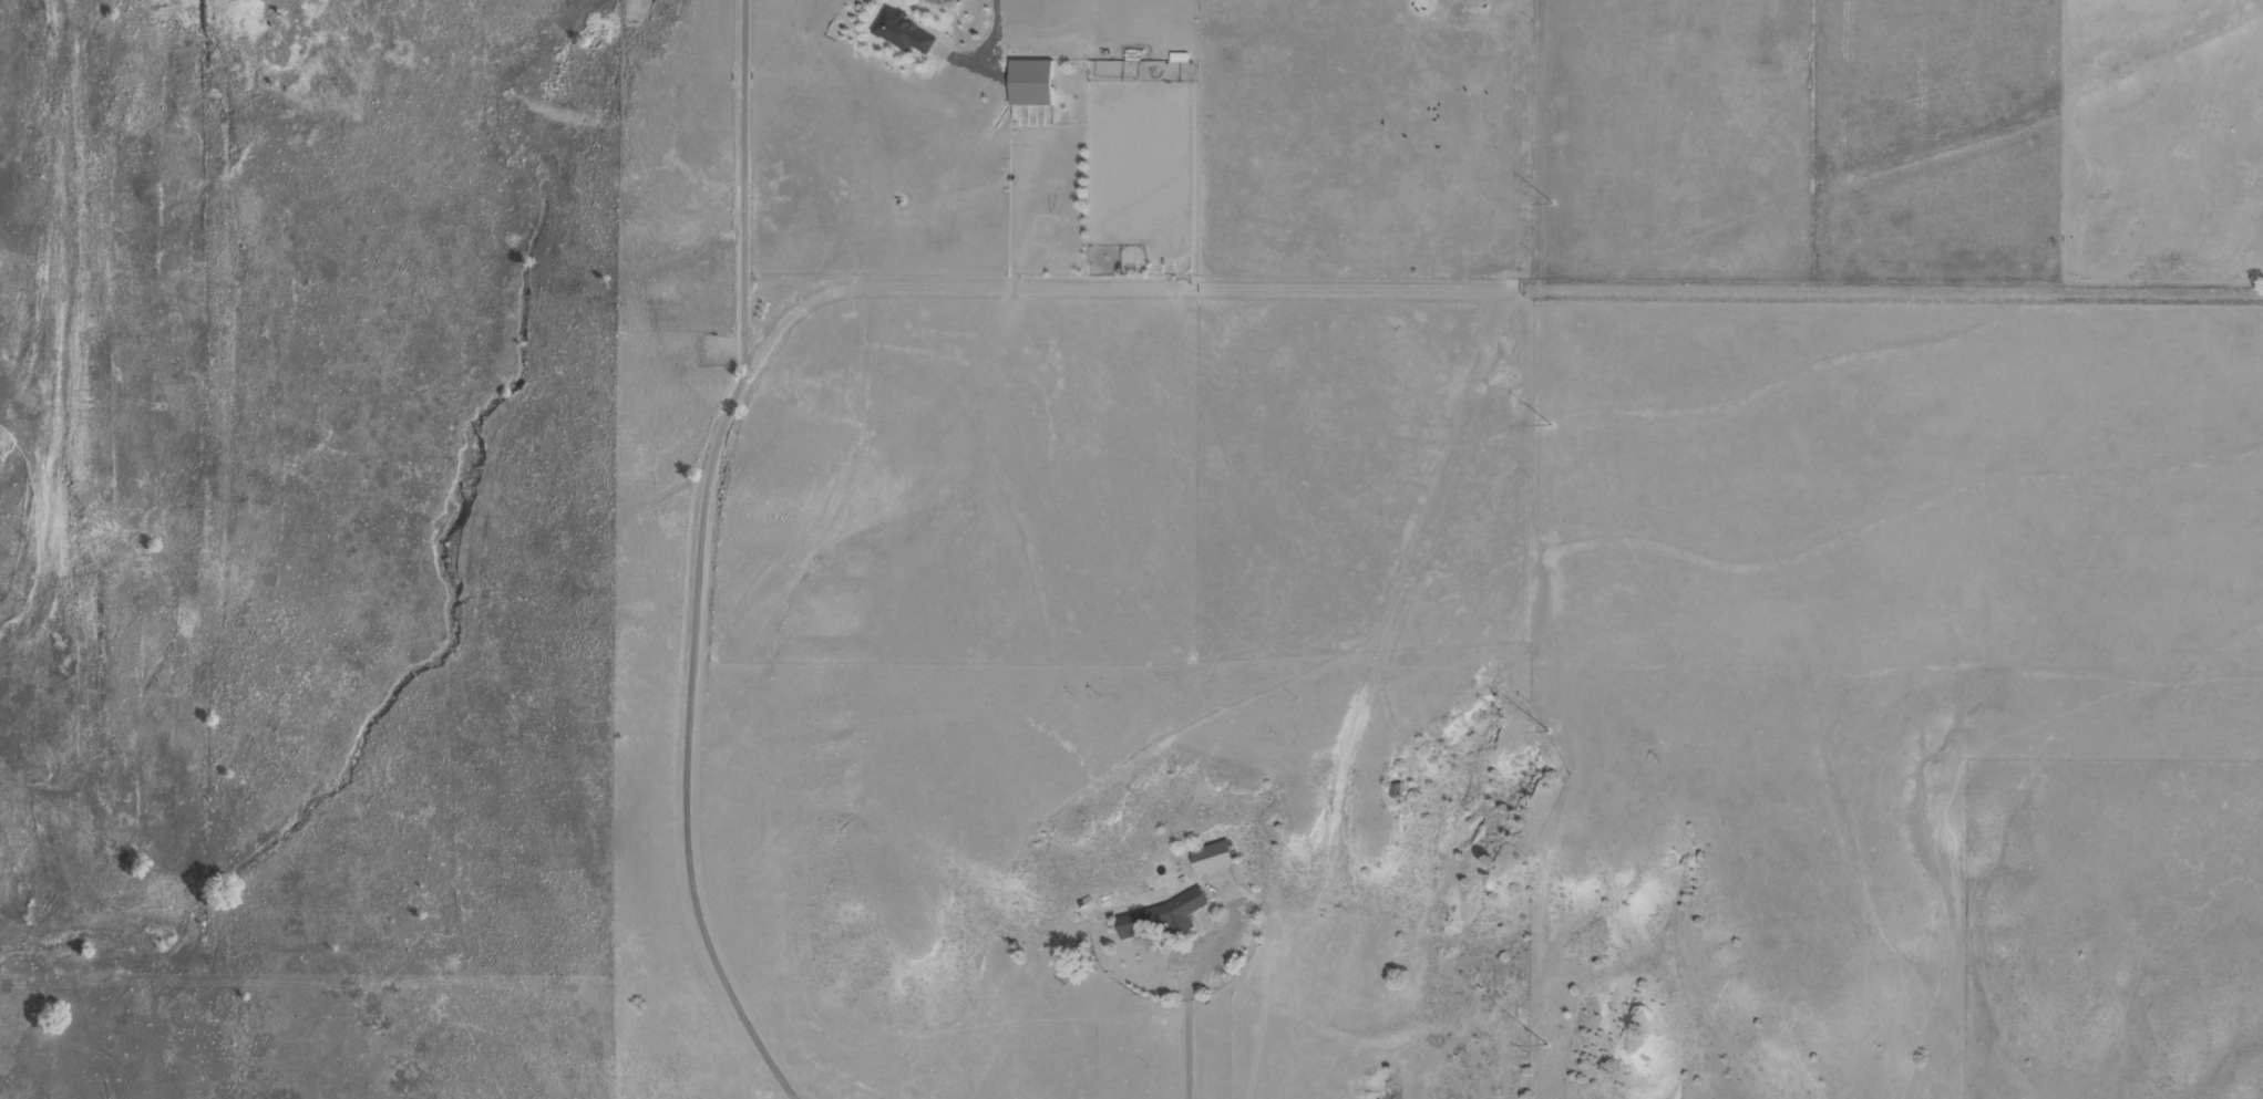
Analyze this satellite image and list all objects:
building: (901, 31)
building: (1029, 82)
power tower: (1549, 205)
power tower: (1547, 427)
road: (700, 558)
power tower: (1543, 730)
building: (1210, 858)
building: (1236, 874)
building: (1163, 915)
road: (1194, 1014)
power tower: (1542, 1044)

